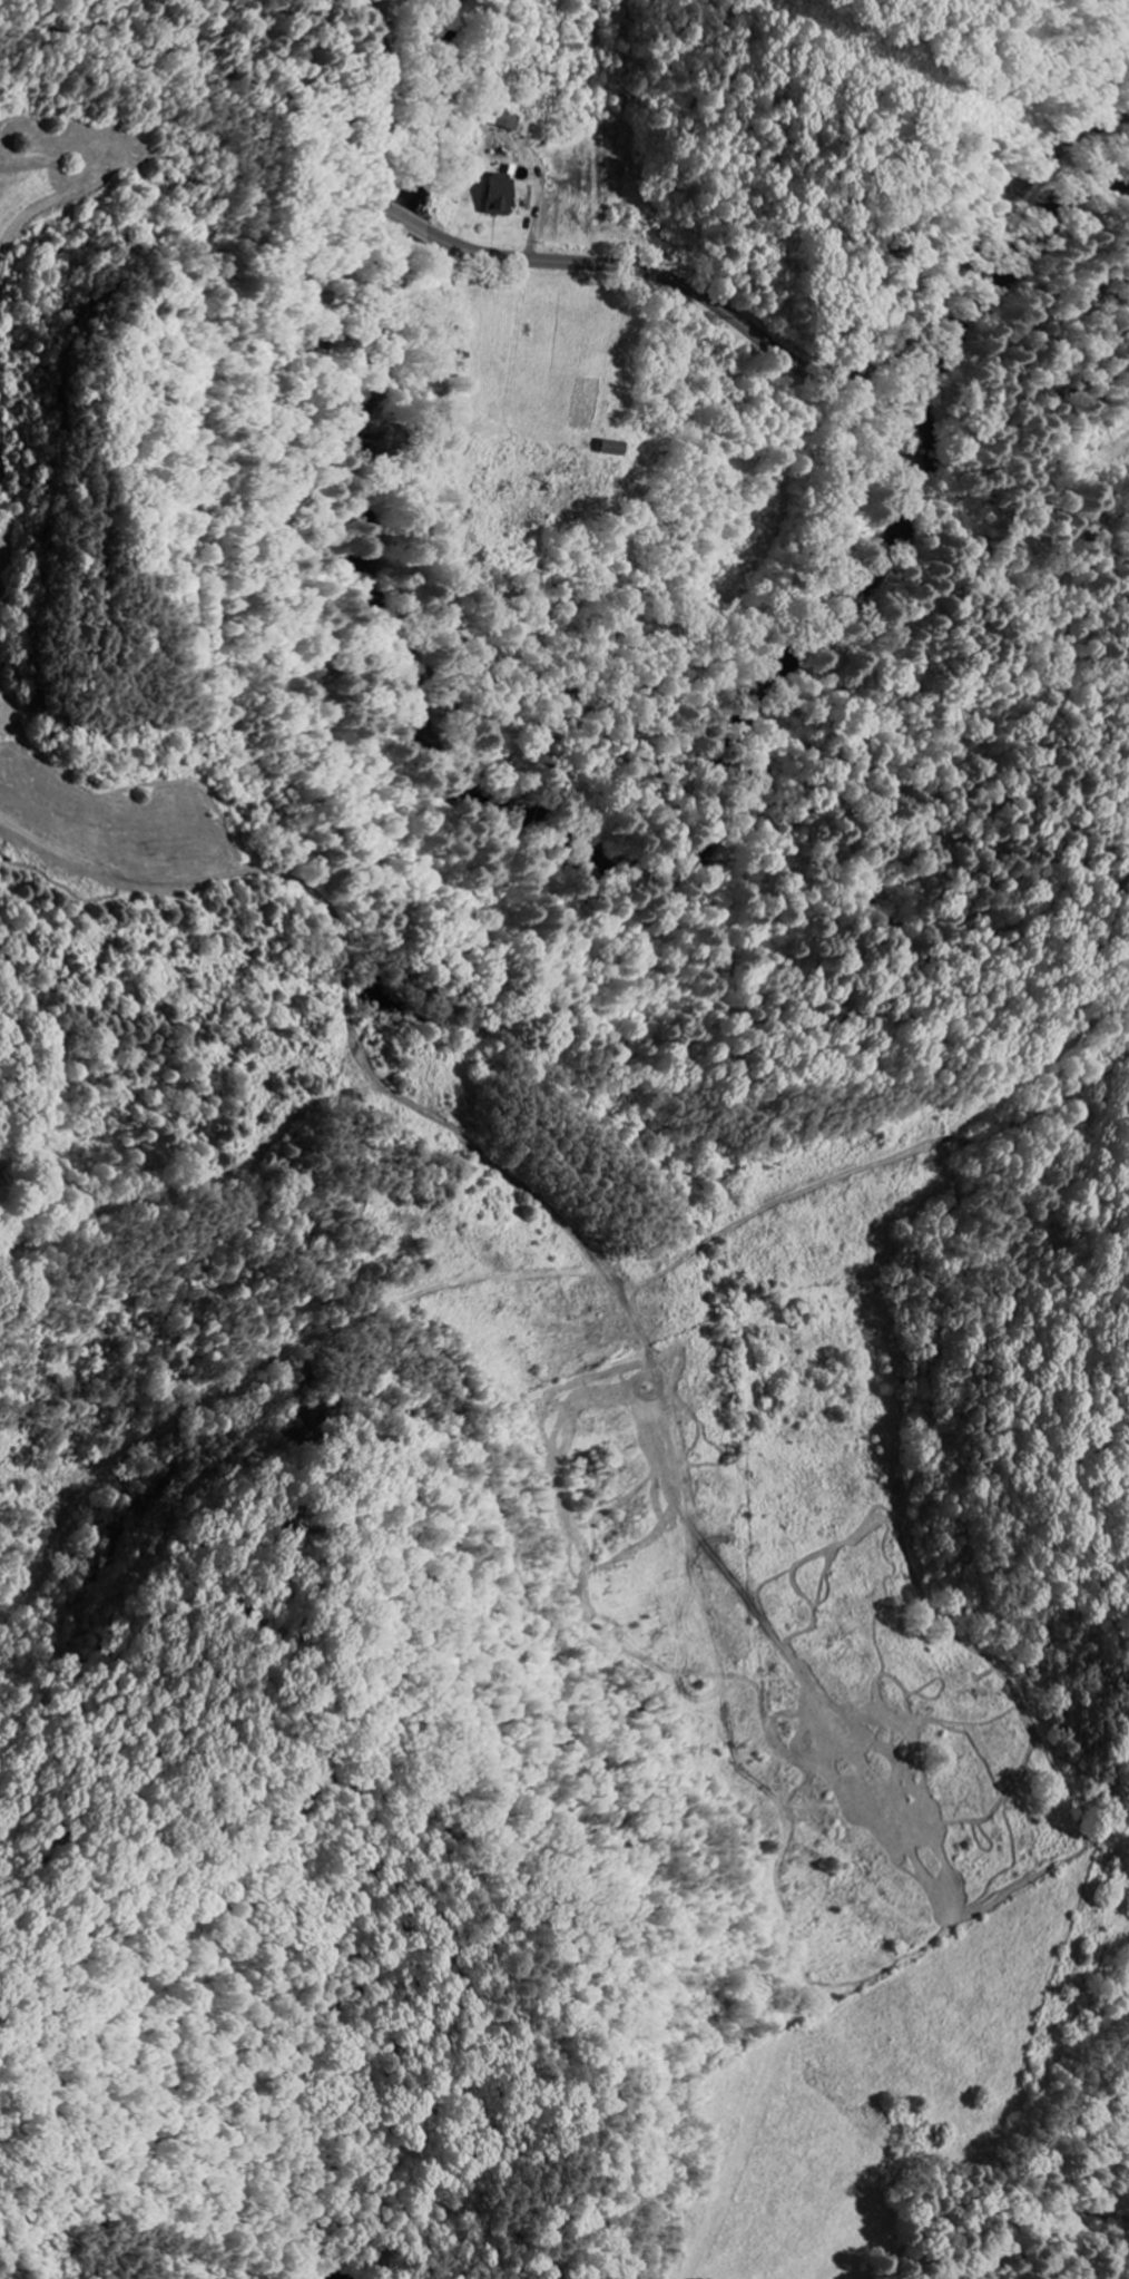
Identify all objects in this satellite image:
road: (501, 133)
building: (500, 195)
road: (709, 297)
building: (618, 447)
road: (40, 1046)
road: (796, 1385)

